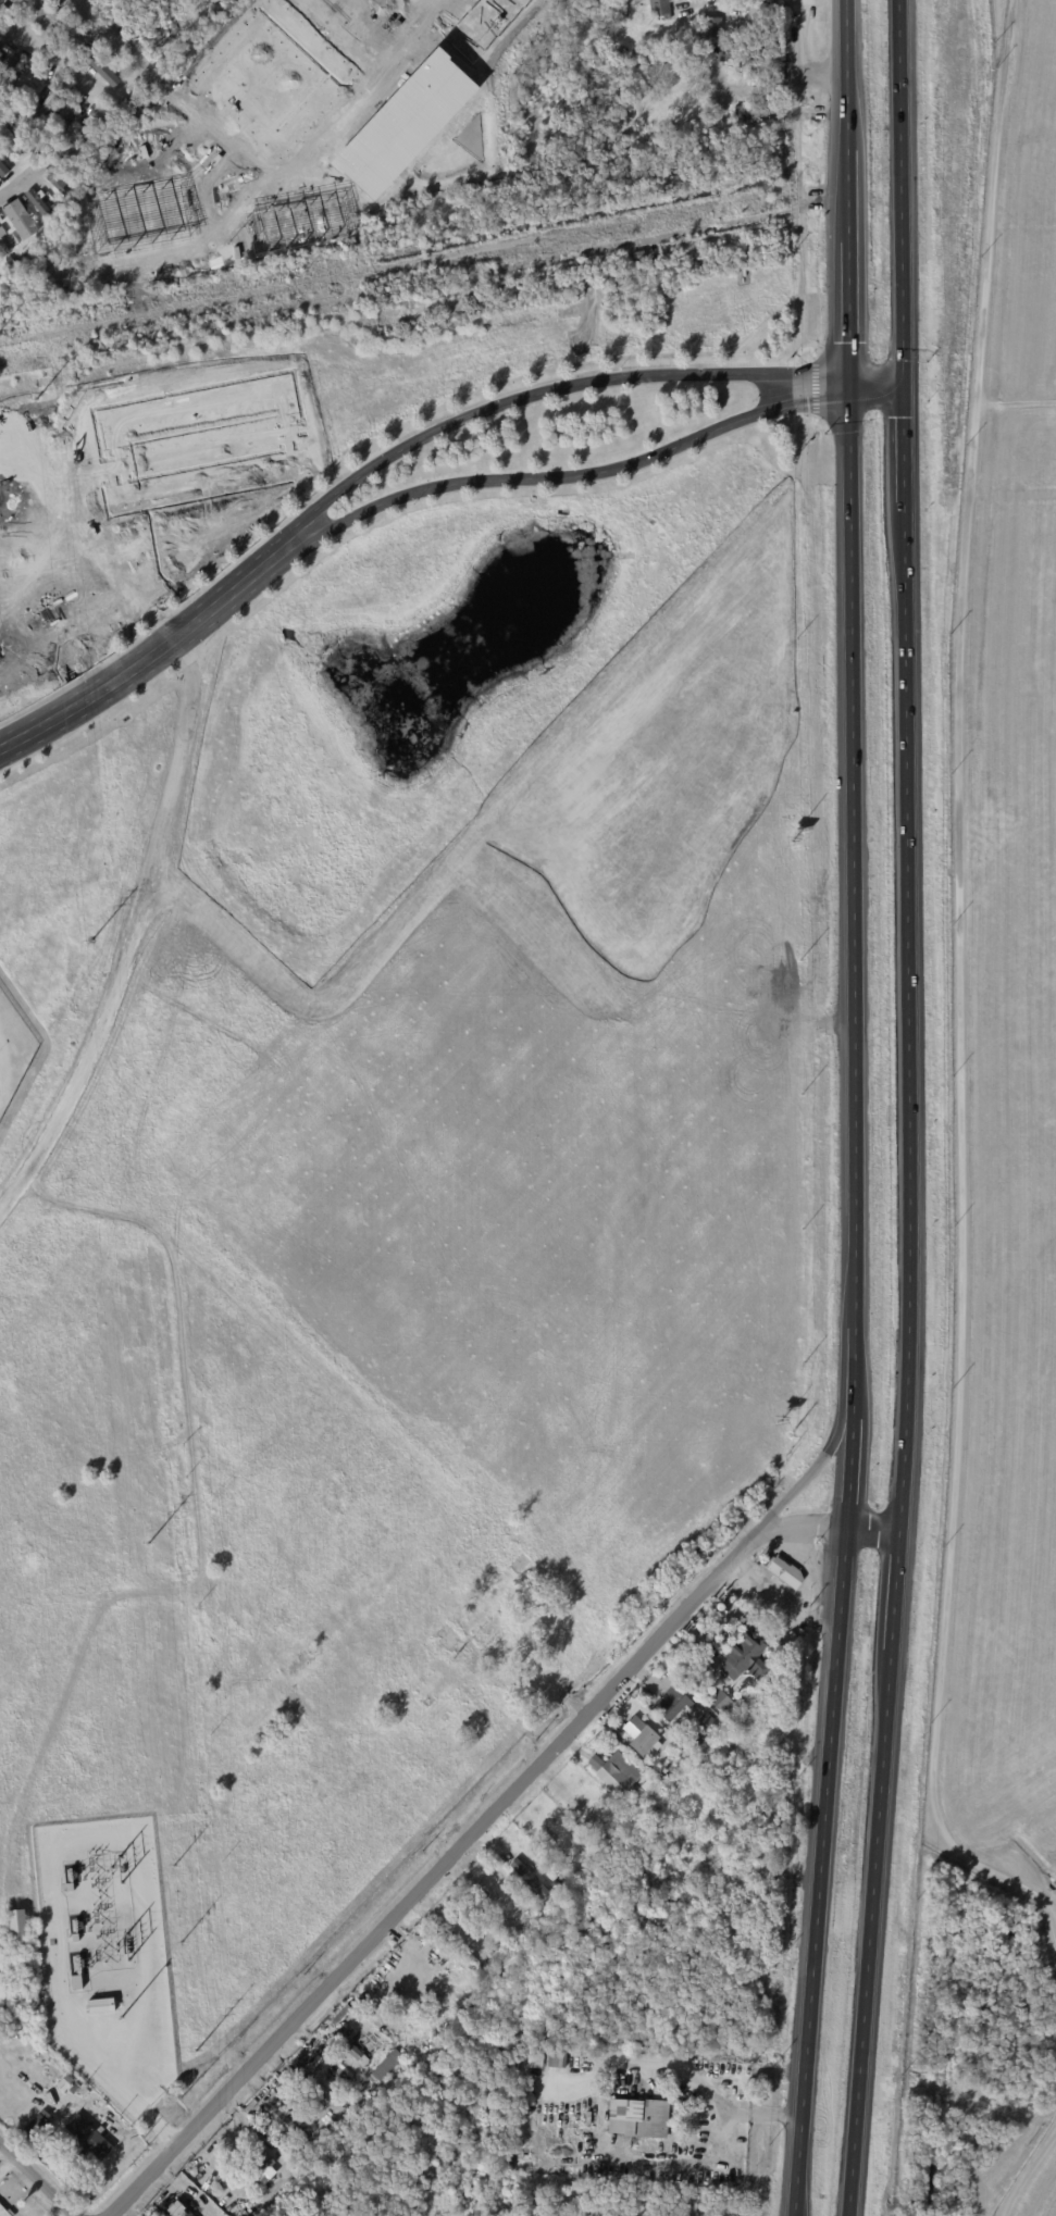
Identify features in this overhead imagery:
building: (781, 2)
building: (306, 5)
building: (658, 7)
building: (54, 13)
building: (758, 14)
building: (274, 18)
road: (373, 26)
building: (713, 28)
road: (107, 35)
building: (239, 35)
building: (213, 45)
building: (719, 52)
building: (766, 53)
building: (233, 64)
building: (103, 71)
building: (12, 73)
building: (779, 74)
road: (167, 94)
building: (25, 96)
building: (48, 104)
building: (792, 105)
building: (751, 112)
building: (65, 117)
building: (12, 140)
building: (79, 140)
building: (102, 151)
building: (150, 151)
road: (226, 155)
building: (2, 162)
building: (195, 162)
road: (153, 164)
building: (3, 169)
road: (287, 179)
road: (202, 182)
road: (20, 184)
building: (61, 184)
building: (105, 185)
road: (847, 191)
building: (40, 201)
building: (23, 220)
building: (305, 221)
building: (4, 250)
building: (636, 254)
road: (981, 320)
traffic signals: (899, 379)
road: (874, 381)
traffic signals: (849, 383)
road: (535, 393)
road: (1015, 402)
road: (805, 403)
road: (512, 478)
road: (141, 660)
road: (133, 934)
airport: (1003, 1042)
road: (905, 1108)
road: (853, 1299)
road: (815, 1464)
road: (869, 1526)
road: (959, 1532)
building: (784, 1570)
road: (783, 1593)
building: (743, 1656)
building: (721, 1701)
building: (671, 1702)
building: (706, 1720)
building: (641, 1734)
building: (696, 1741)
building: (686, 1753)
building: (613, 1770)
building: (649, 1785)
building: (584, 1810)
road: (455, 1842)
building: (527, 1877)
building: (500, 1880)
building: (70, 1885)
building: (488, 1902)
building: (17, 1928)
building: (74, 1937)
power substation: (107, 1956)
building: (389, 1959)
building: (100, 2003)
building: (162, 2032)
building: (356, 2053)
building: (536, 2057)
building: (558, 2058)
building: (389, 2067)
building: (348, 2070)
road: (594, 2077)
building: (69, 2081)
building: (364, 2082)
building: (77, 2089)
building: (86, 2092)
building: (656, 2120)
building: (285, 2124)
building: (41, 2125)
building: (91, 2137)
building: (295, 2152)
building: (308, 2152)
building: (262, 2167)
airport: (1033, 2180)
road: (35, 2181)
building: (177, 2207)
building: (5, 2211)
building: (245, 2212)
building: (196, 2215)

